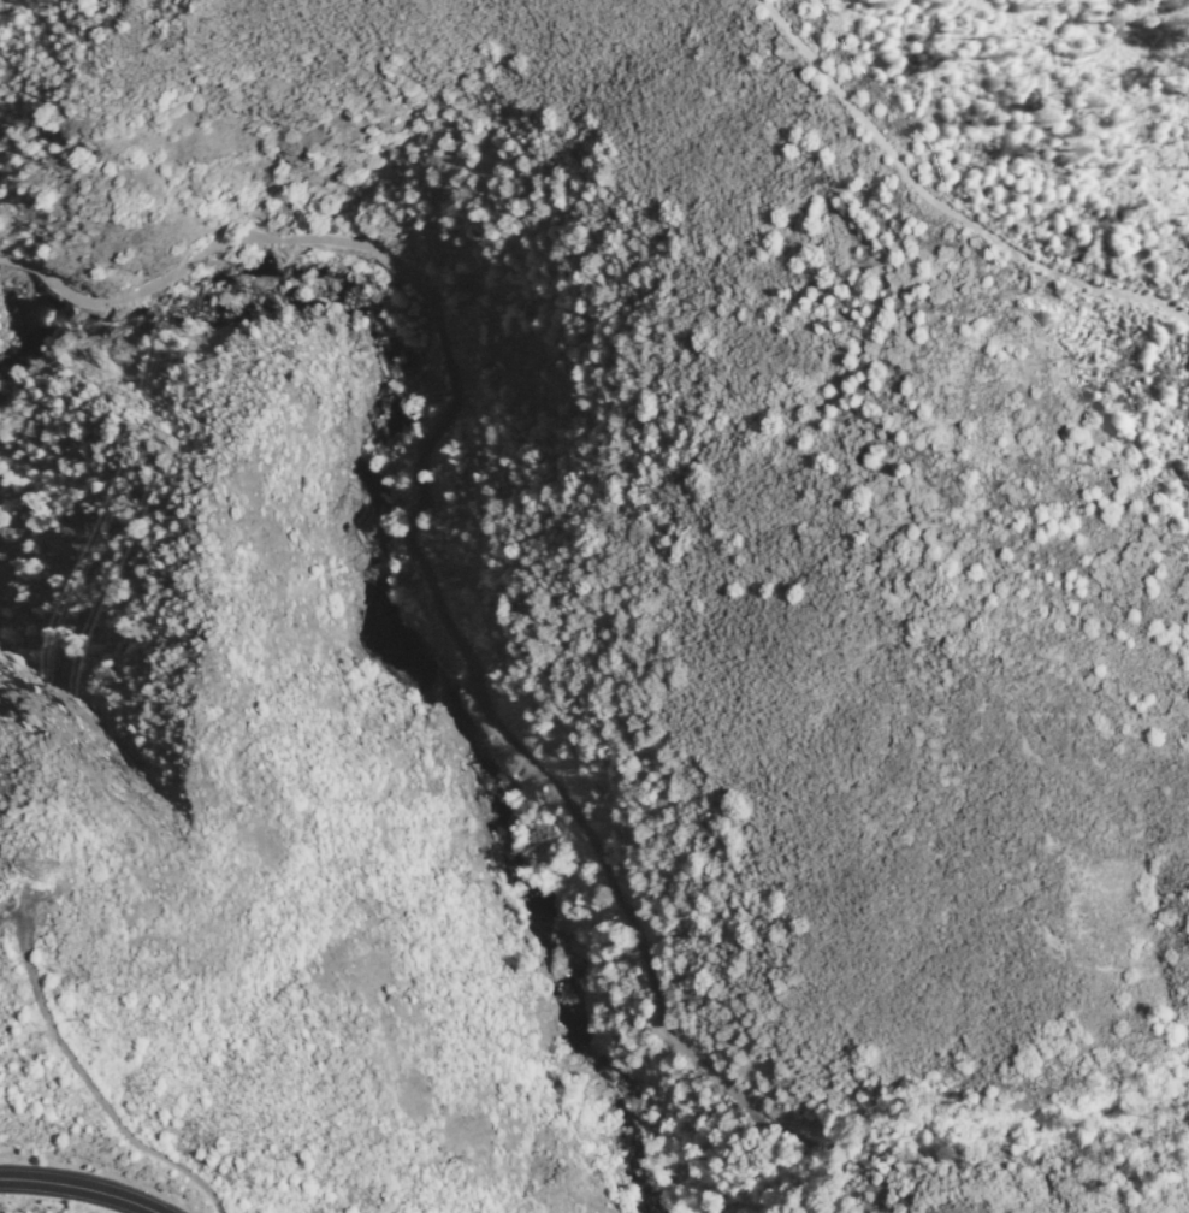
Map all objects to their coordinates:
road: (934, 208)
road: (427, 587)
river: (367, 632)
power tower: (34, 866)
road: (79, 1075)
road: (66, 1196)

